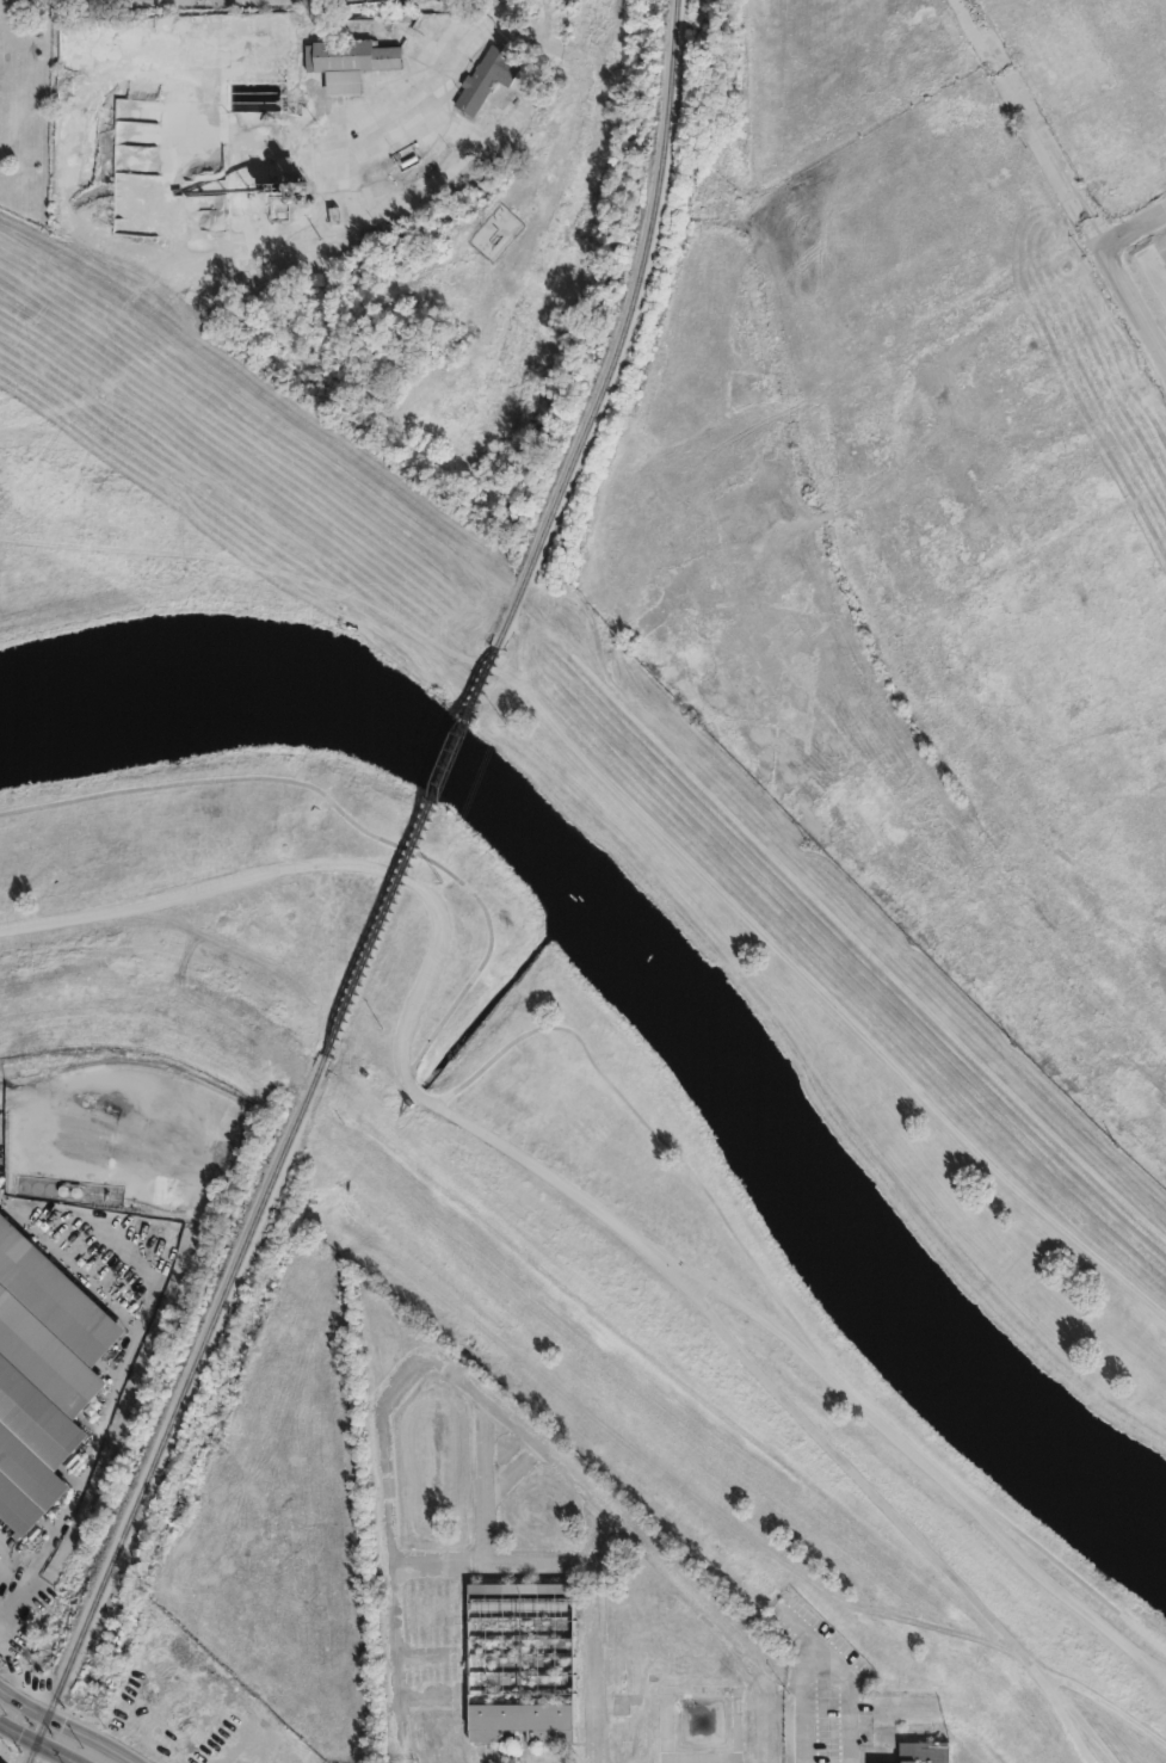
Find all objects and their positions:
building: (857, 0)
road: (506, 4)
building: (798, 5)
building: (766, 6)
building: (1118, 18)
building: (896, 26)
building: (351, 62)
building: (487, 78)
park: (25, 115)
building: (1156, 118)
building: (1104, 135)
building: (1162, 146)
road: (362, 155)
road: (1061, 181)
road: (1133, 232)
building: (359, 240)
building: (1154, 270)
railway: (630, 334)
park: (197, 662)
road: (348, 812)
railway: (412, 852)
river: (659, 976)
road: (547, 1167)
park: (772, 1201)
road: (789, 1306)
building: (44, 1374)
road: (489, 1401)
railway: (180, 1411)
road: (511, 1471)
road: (482, 1481)
road: (493, 1568)
parking lot: (16, 1582)
building: (522, 1589)
road: (596, 1631)
building: (442, 1690)
building: (520, 1721)
building: (439, 1732)
building: (926, 1756)
building: (554, 1762)

